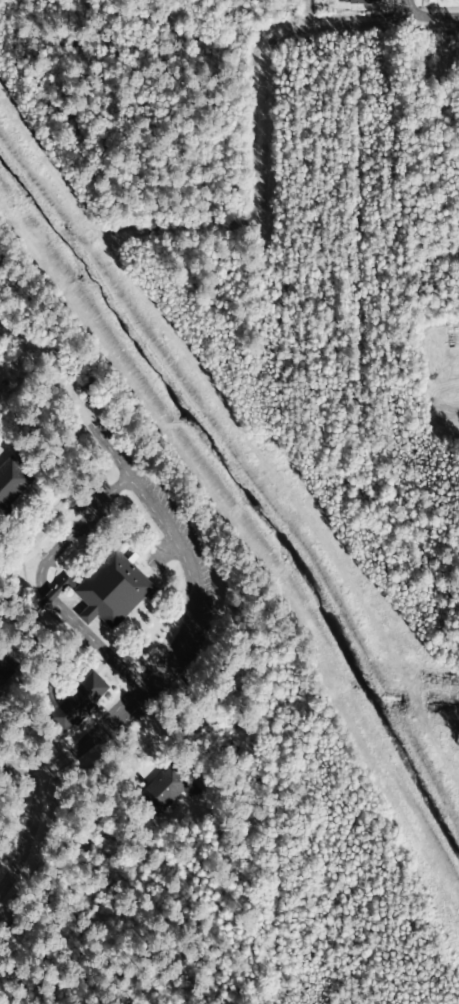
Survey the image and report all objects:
building: (357, 1)
road: (421, 15)
road: (450, 16)
park: (434, 375)
building: (111, 591)
building: (2, 670)
building: (79, 701)
building: (167, 788)
road: (26, 839)

